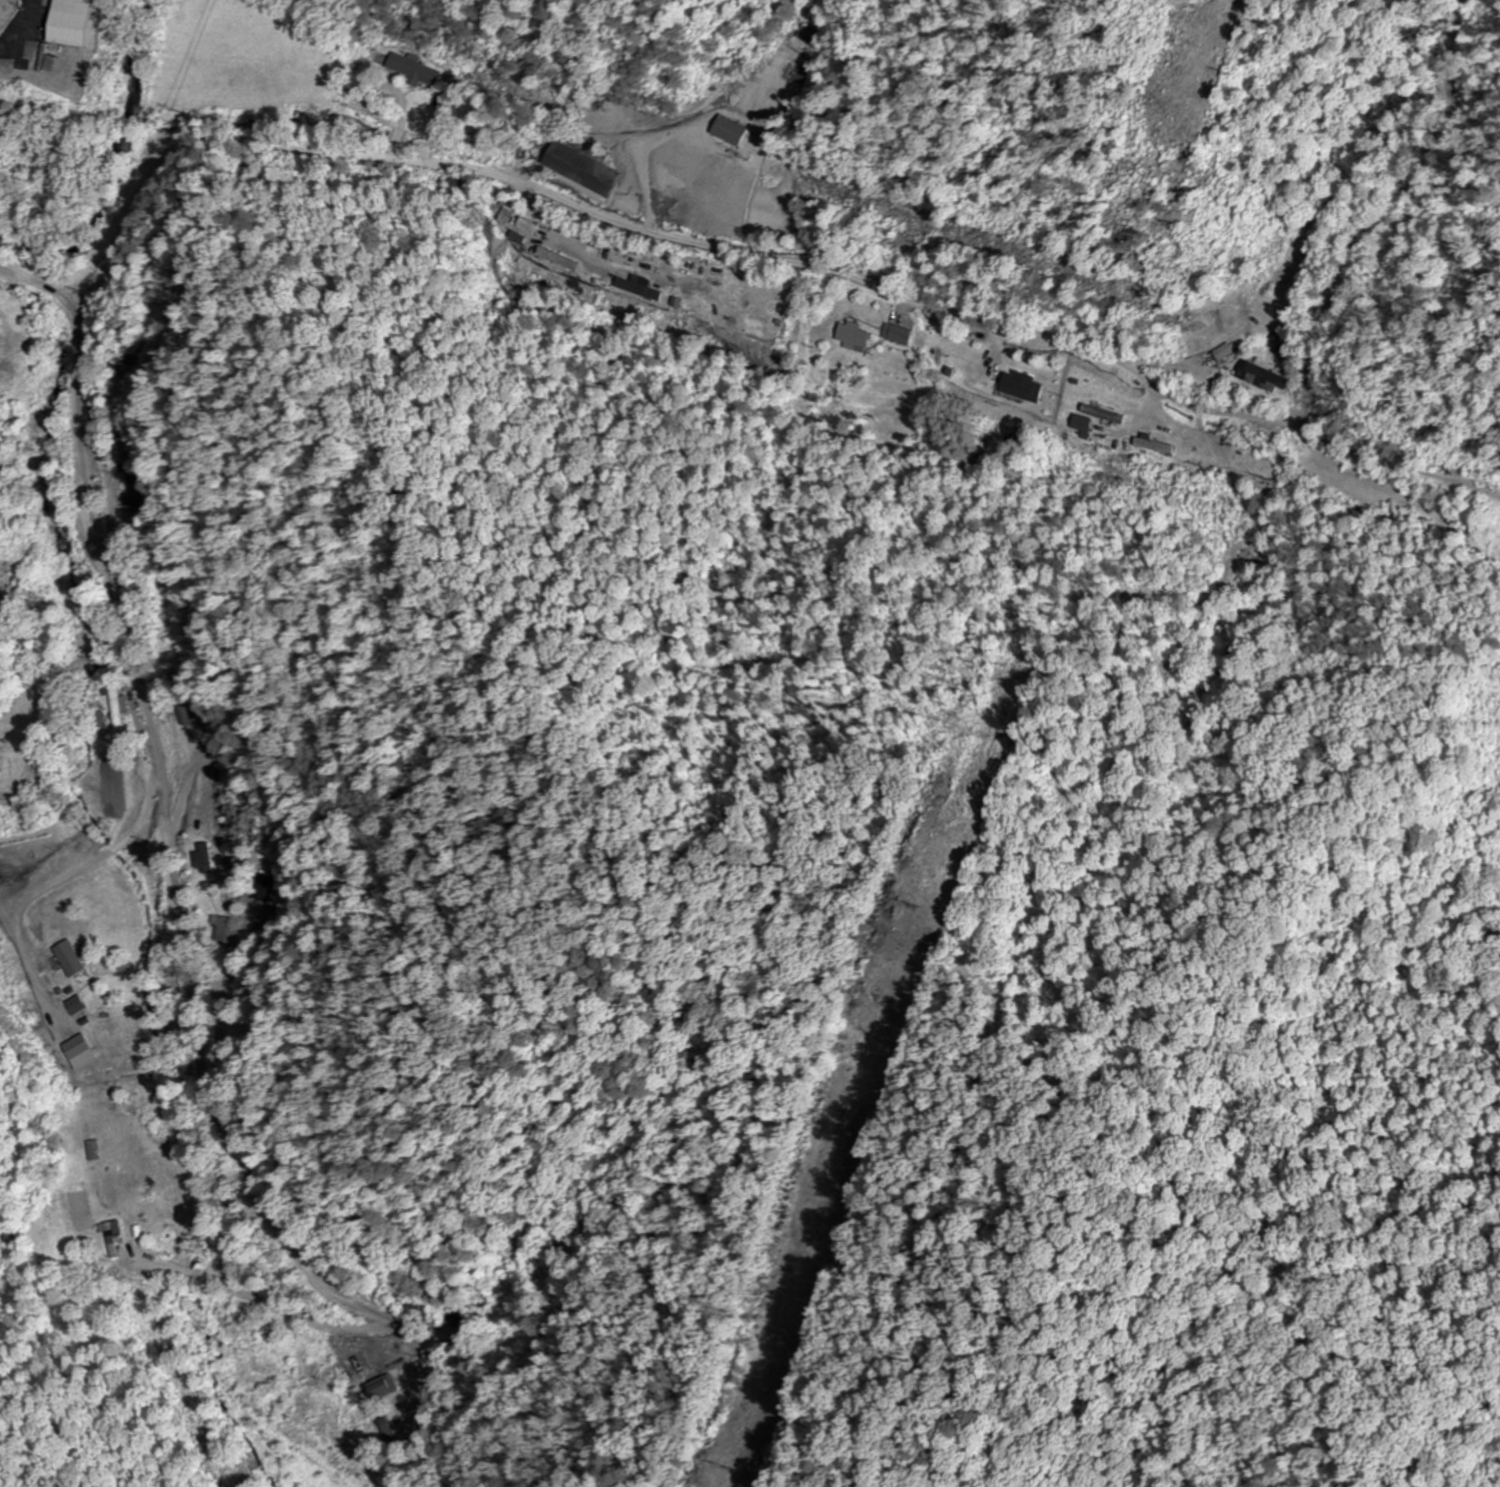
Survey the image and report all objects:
building: (67, 23)
building: (809, 34)
building: (787, 63)
building: (419, 72)
building: (728, 131)
building: (591, 175)
building: (462, 187)
road: (756, 255)
building: (895, 335)
building: (850, 336)
building: (1223, 354)
building: (1262, 378)
building: (1018, 391)
building: (1077, 423)
building: (1150, 446)
building: (119, 710)
building: (271, 889)
road: (178, 894)
building: (228, 933)
building: (68, 959)
building: (74, 1006)
building: (74, 1047)
building: (91, 1151)
building: (110, 1237)
building: (378, 1389)
road: (404, 1427)
power tower: (748, 1468)

